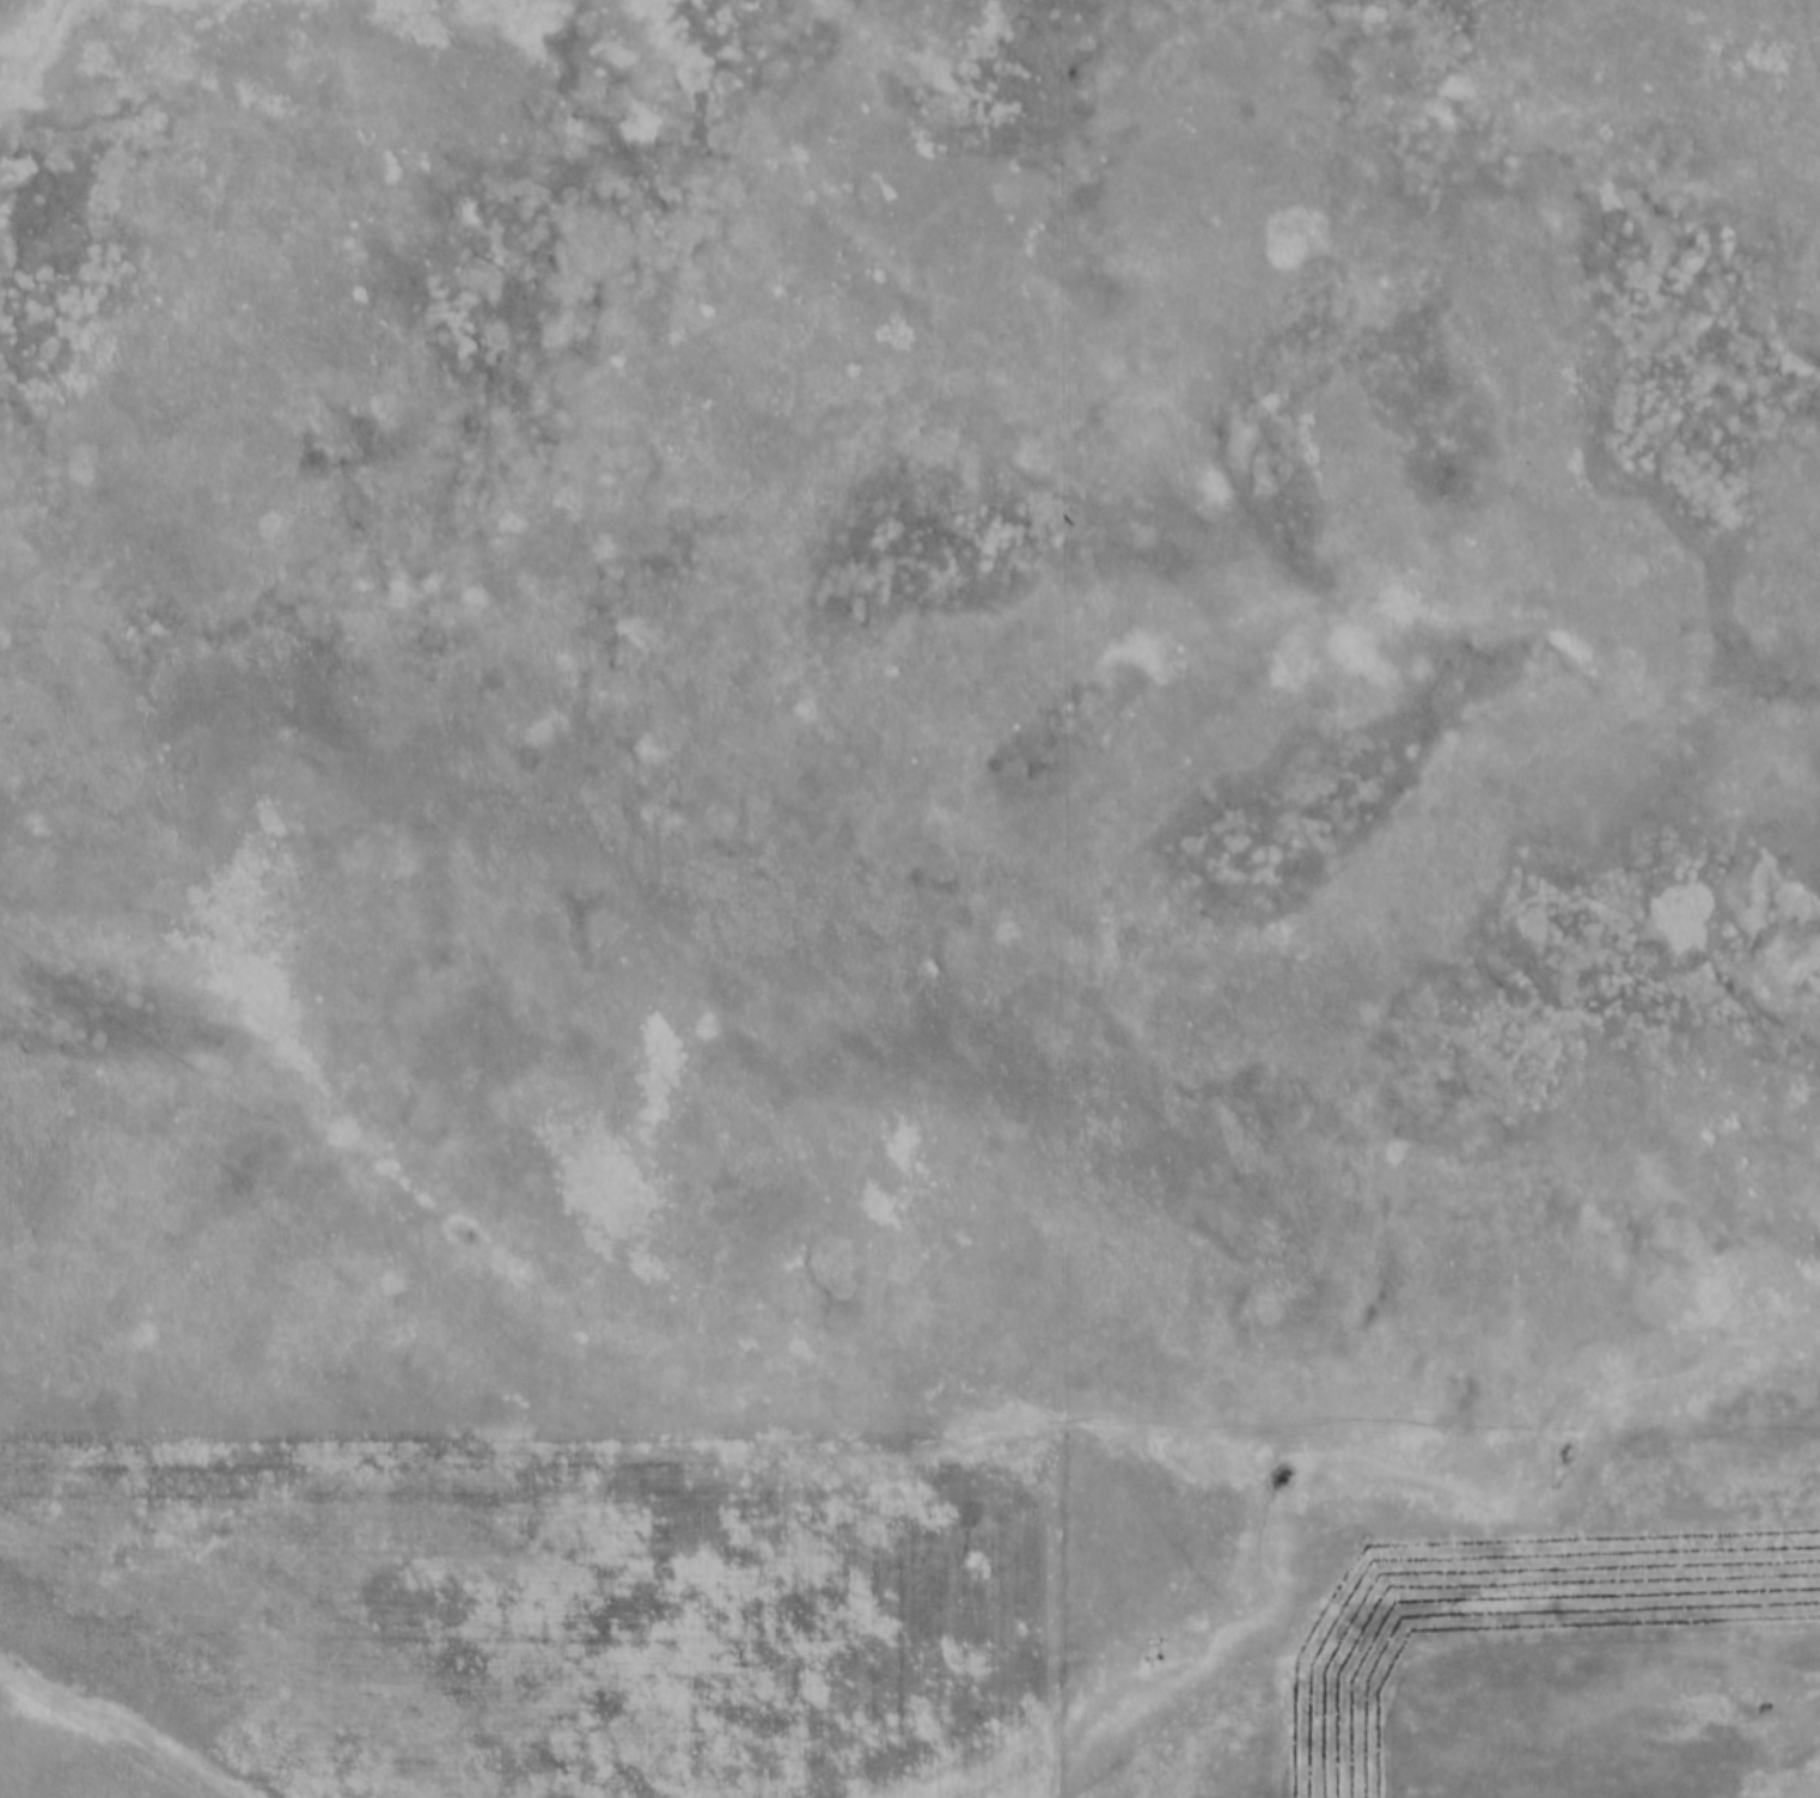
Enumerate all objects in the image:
road: (1260, 1431)

